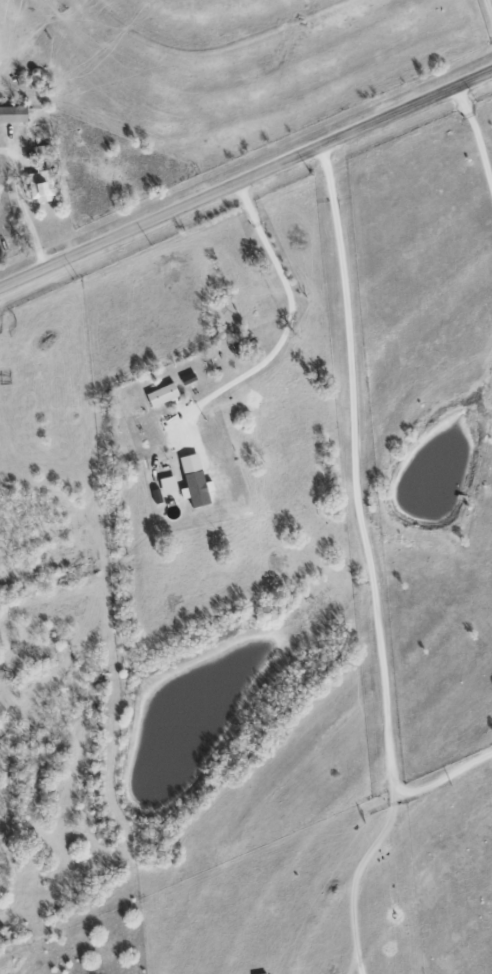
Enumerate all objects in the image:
road: (488, 10)
park: (485, 17)
building: (13, 114)
road: (474, 145)
road: (246, 179)
building: (34, 186)
road: (24, 218)
road: (291, 320)
building: (155, 395)
building: (189, 480)
road: (358, 519)
road: (355, 875)

